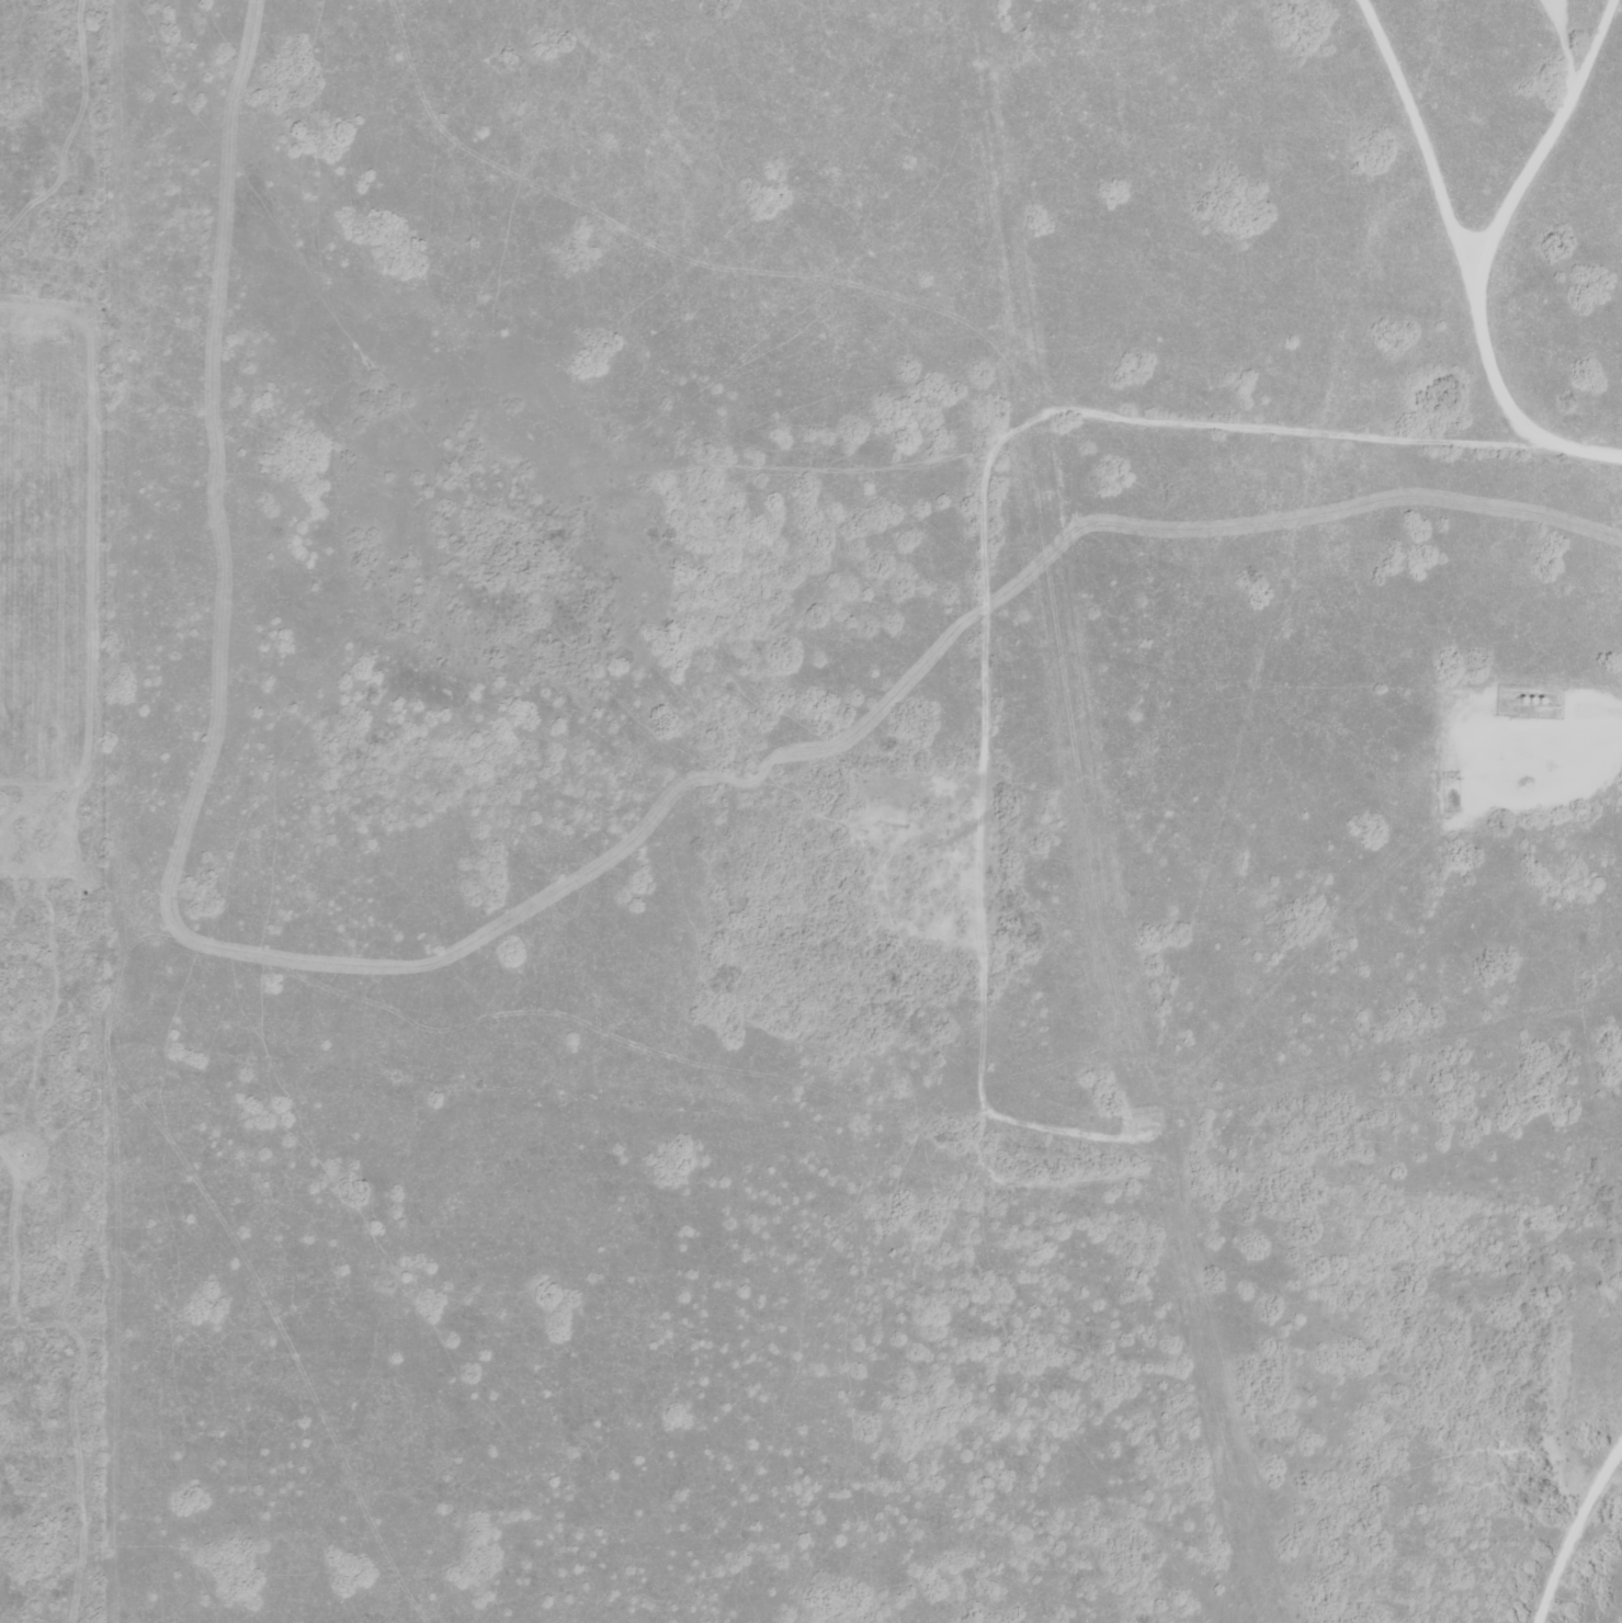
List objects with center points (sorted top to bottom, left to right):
road: (1404, 128)
road: (1467, 253)
road: (1543, 775)
road: (1580, 1523)

